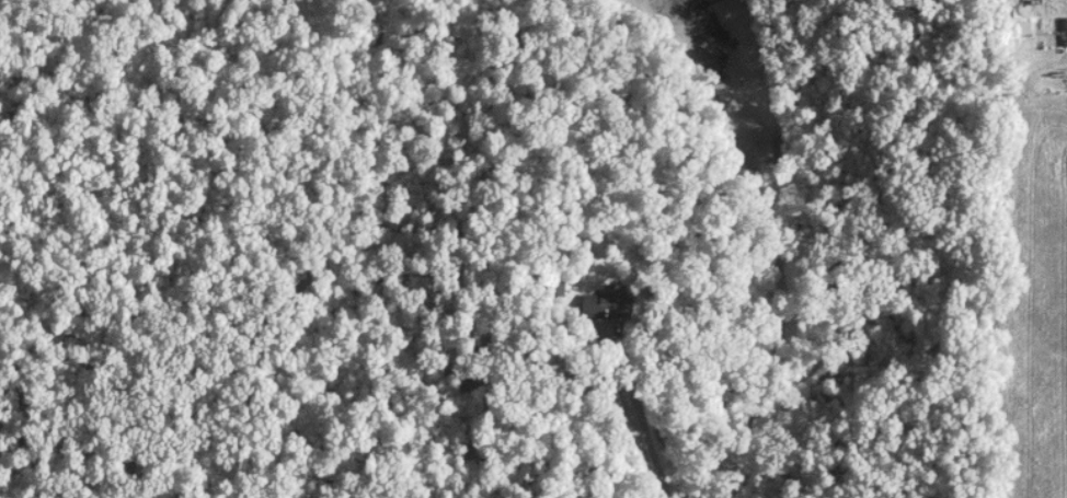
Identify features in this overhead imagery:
building: (1065, 32)
building: (610, 303)
road: (632, 435)

